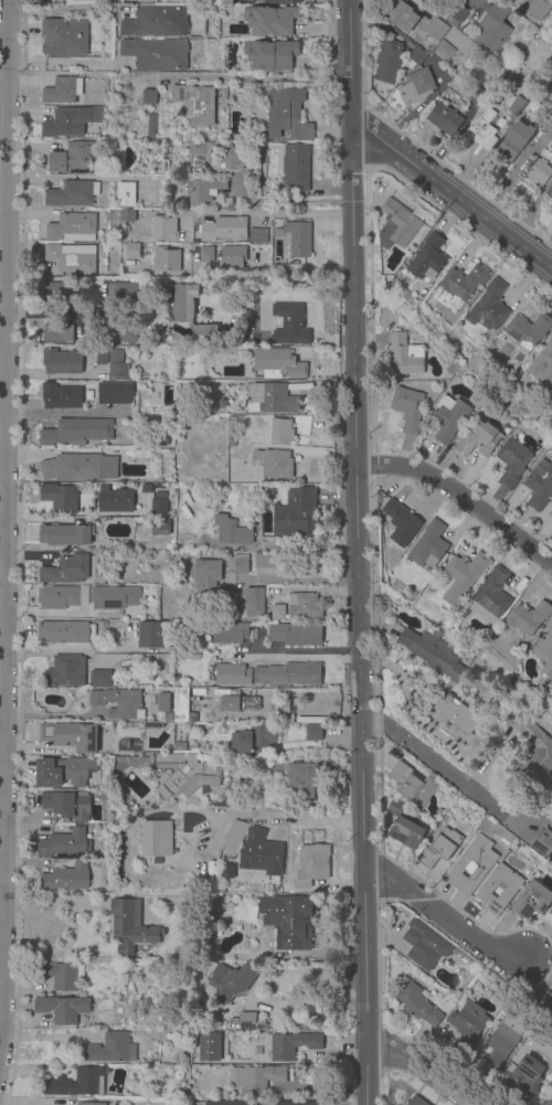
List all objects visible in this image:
building: (56, 0)
building: (136, 0)
road: (520, 0)
building: (277, 1)
building: (539, 8)
building: (457, 13)
building: (401, 15)
building: (156, 21)
building: (270, 21)
building: (453, 23)
building: (436, 29)
building: (492, 29)
building: (63, 36)
building: (155, 54)
building: (446, 54)
building: (270, 55)
building: (417, 55)
road: (59, 61)
building: (388, 62)
building: (551, 68)
road: (254, 81)
building: (416, 87)
building: (62, 91)
building: (149, 96)
building: (478, 97)
building: (509, 99)
building: (194, 103)
building: (517, 106)
building: (287, 115)
building: (445, 119)
building: (68, 121)
building: (151, 126)
building: (482, 130)
building: (513, 142)
building: (199, 148)
building: (227, 156)
building: (75, 158)
building: (295, 167)
road: (517, 169)
building: (539, 172)
building: (203, 191)
road: (453, 192)
building: (549, 192)
building: (71, 193)
building: (125, 193)
building: (147, 198)
road: (258, 214)
building: (127, 215)
building: (396, 225)
building: (72, 227)
building: (163, 229)
building: (220, 230)
building: (256, 235)
building: (294, 237)
building: (131, 251)
building: (205, 254)
building: (232, 257)
building: (427, 257)
building: (71, 258)
building: (164, 259)
road: (241, 275)
building: (464, 283)
building: (388, 284)
building: (57, 291)
building: (121, 293)
building: (183, 302)
building: (489, 307)
road: (88, 309)
road: (46, 312)
building: (289, 325)
building: (56, 332)
building: (528, 332)
building: (121, 333)
building: (204, 334)
building: (216, 351)
building: (546, 354)
building: (102, 357)
building: (404, 357)
building: (61, 361)
building: (278, 363)
building: (117, 370)
building: (452, 371)
building: (114, 391)
building: (60, 396)
building: (270, 399)
building: (221, 403)
building: (502, 405)
building: (407, 407)
road: (67, 414)
building: (448, 417)
building: (231, 421)
building: (282, 431)
building: (76, 432)
building: (231, 434)
building: (158, 438)
building: (477, 438)
building: (511, 461)
building: (275, 463)
building: (77, 467)
building: (159, 486)
building: (539, 486)
building: (145, 488)
building: (60, 497)
building: (115, 499)
road: (460, 502)
building: (158, 506)
road: (3, 511)
building: (295, 511)
road: (68, 519)
building: (401, 524)
building: (159, 527)
building: (231, 531)
building: (64, 534)
building: (428, 546)
road: (359, 552)
building: (264, 561)
building: (241, 564)
building: (227, 566)
building: (66, 569)
building: (464, 572)
building: (206, 575)
road: (291, 580)
building: (490, 595)
building: (62, 597)
building: (113, 601)
building: (254, 602)
building: (308, 603)
road: (49, 613)
building: (277, 613)
road: (108, 614)
building: (529, 618)
building: (102, 624)
building: (65, 631)
building: (230, 633)
building: (149, 634)
building: (296, 634)
road: (74, 650)
building: (544, 652)
building: (432, 654)
road: (298, 657)
building: (65, 670)
building: (232, 674)
building: (287, 674)
building: (177, 676)
building: (99, 678)
building: (163, 702)
building: (240, 702)
building: (118, 703)
building: (181, 705)
building: (277, 705)
building: (168, 716)
road: (54, 718)
building: (455, 720)
building: (151, 725)
building: (312, 732)
building: (70, 735)
building: (254, 739)
building: (179, 746)
building: (532, 753)
road: (420, 757)
building: (117, 763)
building: (61, 772)
building: (183, 774)
building: (302, 779)
building: (413, 786)
building: (104, 795)
building: (66, 804)
road: (511, 814)
building: (107, 816)
road: (291, 817)
building: (404, 826)
building: (233, 837)
building: (155, 838)
building: (64, 843)
building: (544, 843)
building: (438, 848)
building: (261, 853)
building: (311, 864)
building: (469, 865)
building: (227, 871)
building: (65, 878)
building: (485, 892)
building: (521, 904)
building: (548, 917)
road: (447, 920)
building: (287, 921)
building: (399, 925)
building: (131, 927)
building: (421, 949)
building: (61, 974)
building: (222, 984)
building: (546, 1000)
building: (416, 1003)
building: (64, 1009)
building: (246, 1021)
building: (467, 1026)
building: (539, 1034)
building: (168, 1037)
building: (503, 1039)
building: (293, 1044)
building: (209, 1046)
building: (110, 1048)
road: (410, 1071)
building: (178, 1075)
building: (258, 1077)
building: (527, 1079)
building: (75, 1083)
building: (549, 1101)
building: (415, 1102)
building: (118, 1103)
building: (227, 1103)
building: (300, 1103)
building: (91, 1104)

